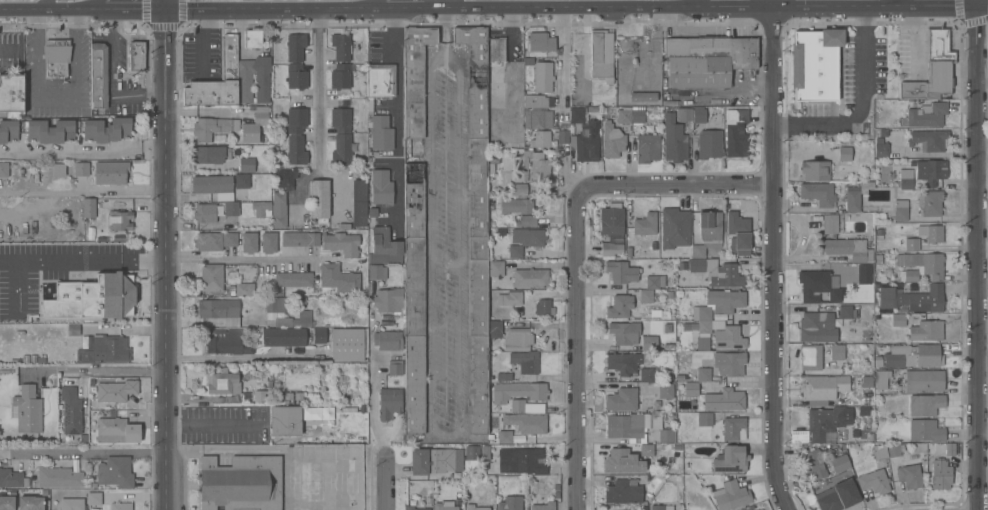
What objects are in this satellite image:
road: (977, 3)
road: (40, 7)
road: (164, 7)
road: (944, 7)
traffic signals: (977, 7)
road: (982, 7)
road: (842, 8)
road: (739, 9)
road: (574, 11)
road: (351, 12)
road: (413, 12)
road: (237, 13)
road: (282, 13)
road: (306, 13)
road: (56, 14)
road: (90, 14)
road: (108, 14)
road: (137, 14)
traffic signals: (164, 14)
road: (183, 14)
road: (18, 15)
road: (444, 31)
building: (254, 38)
building: (540, 42)
road: (977, 44)
building: (295, 47)
building: (340, 47)
building: (496, 50)
building: (601, 55)
building: (56, 56)
building: (136, 56)
building: (707, 60)
road: (444, 62)
building: (528, 62)
road: (202, 64)
building: (815, 64)
road: (565, 65)
building: (228, 66)
building: (933, 67)
building: (98, 76)
building: (296, 76)
building: (340, 77)
building: (543, 77)
building: (415, 79)
road: (110, 80)
road: (982, 81)
building: (379, 83)
building: (245, 88)
building: (11, 92)
road: (318, 92)
building: (643, 97)
road: (58, 99)
road: (858, 101)
building: (536, 111)
road: (398, 115)
building: (684, 115)
building: (698, 115)
building: (927, 116)
building: (630, 117)
building: (296, 120)
building: (254, 125)
building: (213, 128)
building: (8, 131)
building: (107, 132)
building: (381, 133)
building: (736, 133)
building: (585, 135)
building: (341, 136)
building: (562, 137)
building: (540, 139)
building: (674, 140)
building: (929, 140)
building: (612, 142)
building: (709, 144)
building: (881, 145)
building: (647, 148)
road: (82, 150)
building: (296, 151)
building: (846, 154)
road: (982, 154)
building: (207, 155)
building: (246, 165)
building: (493, 166)
building: (540, 166)
building: (81, 169)
building: (4, 170)
building: (58, 170)
building: (815, 171)
building: (930, 171)
building: (110, 172)
building: (285, 178)
building: (905, 179)
building: (246, 181)
building: (381, 187)
road: (677, 187)
building: (519, 190)
road: (83, 191)
building: (217, 191)
building: (818, 194)
building: (855, 195)
building: (319, 198)
building: (930, 202)
building: (359, 203)
building: (516, 206)
building: (260, 207)
building: (88, 208)
building: (278, 210)
building: (900, 210)
building: (207, 212)
building: (611, 219)
building: (119, 220)
building: (526, 221)
building: (645, 224)
building: (829, 224)
building: (476, 225)
building: (674, 228)
building: (738, 232)
building: (707, 233)
building: (930, 233)
building: (300, 239)
building: (229, 240)
building: (525, 240)
building: (208, 242)
building: (249, 243)
building: (268, 243)
building: (341, 244)
building: (911, 244)
building: (612, 246)
building: (384, 247)
road: (431, 249)
building: (847, 249)
road: (459, 250)
road: (983, 253)
road: (773, 255)
road: (157, 260)
road: (165, 261)
building: (920, 266)
building: (495, 268)
building: (376, 271)
building: (621, 272)
building: (714, 272)
building: (864, 274)
building: (211, 277)
building: (338, 278)
building: (530, 278)
building: (293, 279)
building: (816, 286)
building: (650, 288)
road: (983, 288)
building: (244, 290)
building: (669, 295)
road: (978, 296)
building: (413, 297)
building: (92, 299)
building: (508, 299)
building: (913, 299)
building: (389, 301)
building: (725, 301)
building: (543, 307)
building: (619, 307)
building: (220, 311)
building: (845, 312)
building: (655, 314)
building: (702, 318)
building: (898, 320)
building: (284, 325)
building: (686, 327)
building: (817, 327)
building: (694, 328)
road: (983, 328)
building: (495, 329)
building: (73, 330)
building: (925, 330)
building: (624, 333)
building: (667, 333)
building: (319, 335)
building: (728, 338)
building: (388, 340)
building: (226, 342)
building: (649, 343)
building: (702, 343)
building: (348, 345)
building: (102, 349)
building: (521, 350)
road: (578, 351)
building: (836, 352)
road: (229, 357)
building: (810, 357)
building: (914, 357)
building: (25, 360)
building: (32, 360)
building: (40, 361)
building: (623, 363)
building: (729, 364)
road: (983, 366)
building: (395, 368)
road: (117, 369)
building: (647, 375)
building: (703, 375)
building: (503, 377)
building: (680, 378)
building: (881, 379)
building: (923, 381)
building: (222, 382)
road: (371, 383)
building: (866, 383)
building: (822, 388)
building: (691, 389)
building: (116, 390)
building: (665, 391)
building: (518, 392)
building: (259, 396)
building: (622, 400)
building: (724, 400)
building: (847, 400)
road: (983, 400)
building: (389, 403)
building: (925, 405)
building: (517, 406)
building: (27, 409)
building: (70, 411)
building: (704, 419)
building: (285, 421)
building: (827, 422)
building: (526, 423)
building: (628, 427)
building: (734, 429)
building: (116, 431)
building: (925, 431)
road: (445, 435)
building: (666, 435)
building: (504, 437)
road: (983, 437)
building: (646, 450)
building: (896, 450)
building: (949, 450)
road: (82, 452)
building: (472, 453)
building: (485, 453)
building: (876, 454)
building: (730, 460)
building: (435, 461)
building: (526, 461)
building: (617, 461)
building: (813, 464)
building: (839, 464)
building: (115, 472)
building: (940, 474)
building: (909, 476)
road: (983, 476)
building: (10, 478)
building: (59, 478)
building: (873, 481)
building: (241, 483)
road: (384, 483)
building: (623, 493)
building: (838, 494)
building: (730, 496)
building: (94, 498)
building: (7, 503)
building: (30, 503)
building: (510, 503)
building: (72, 504)
building: (120, 506)
building: (444, 506)
building: (543, 506)
building: (475, 507)
building: (413, 508)
building: (661, 508)

